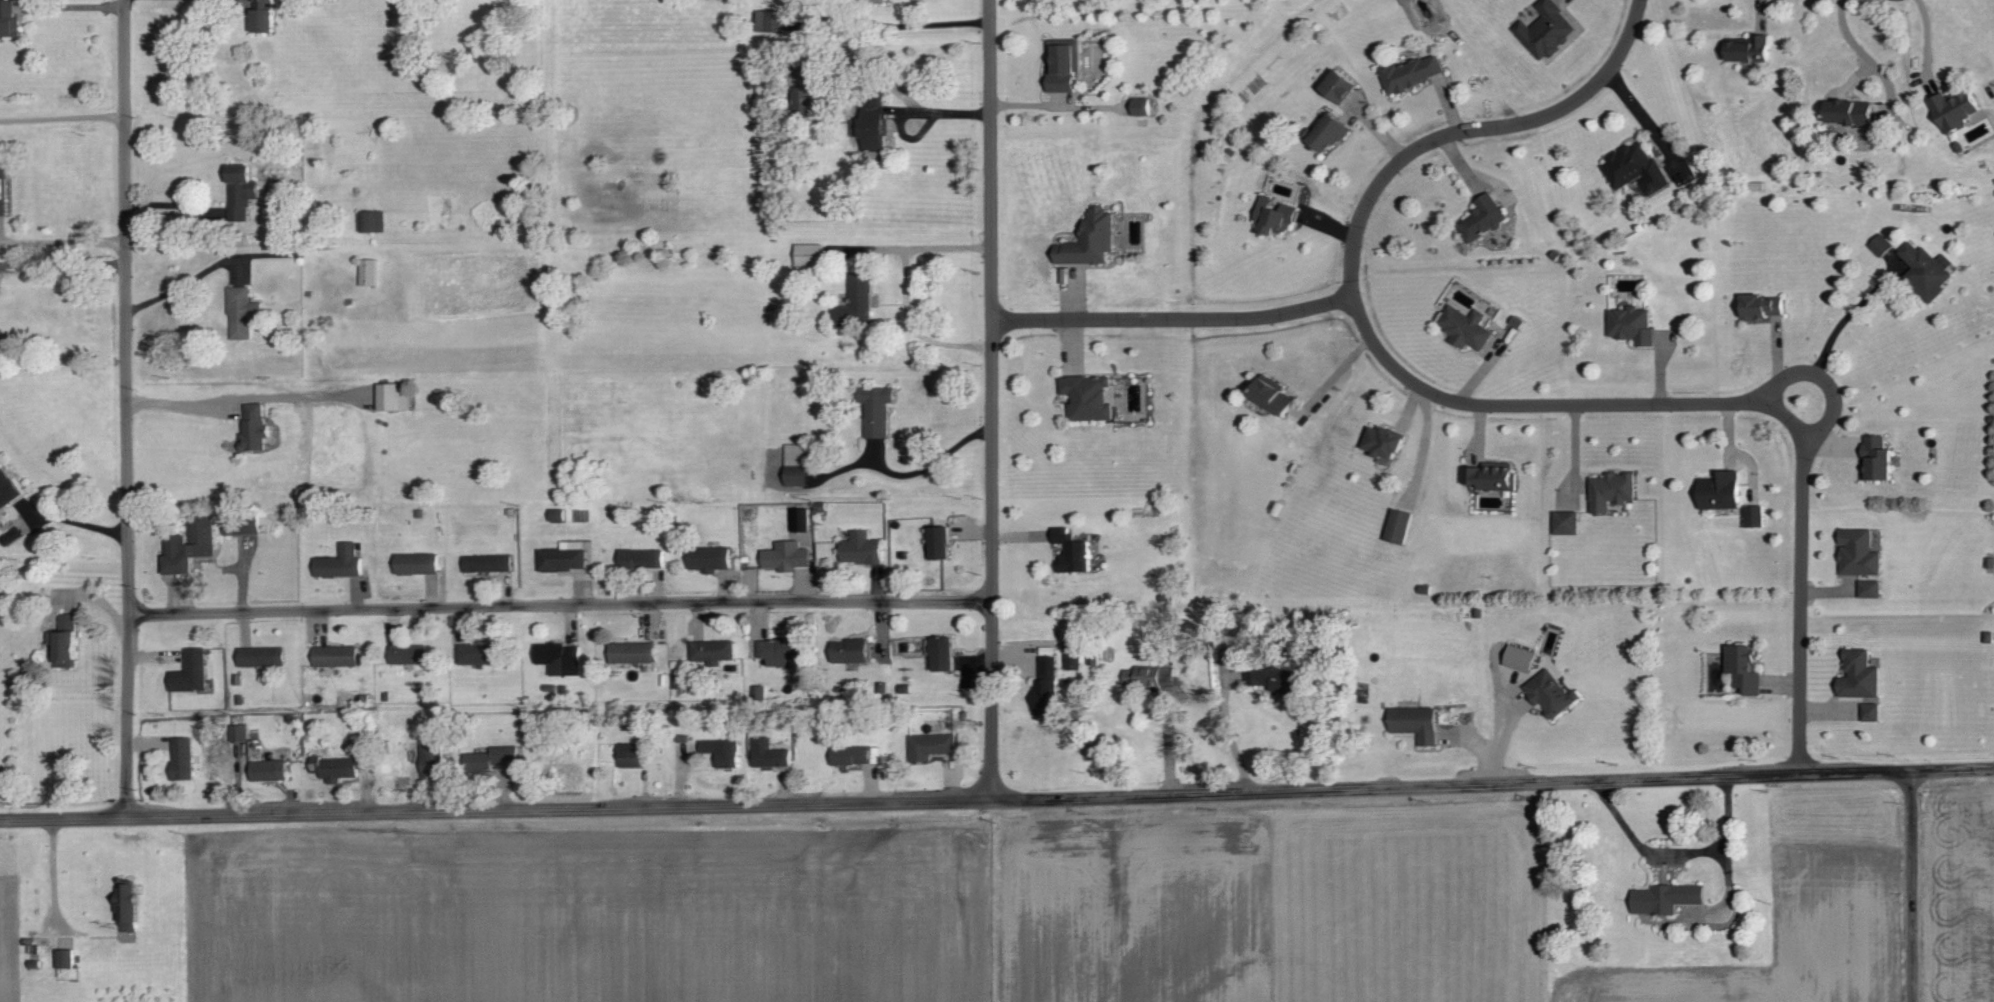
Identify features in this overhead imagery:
building: (872, 1)
road: (70, 7)
building: (262, 16)
building: (769, 21)
road: (916, 23)
building: (1547, 30)
building: (1750, 51)
road: (1866, 58)
building: (1063, 64)
building: (1413, 73)
building: (1338, 87)
building: (803, 90)
road: (903, 94)
building: (1141, 107)
building: (1850, 113)
building: (1962, 114)
road: (61, 115)
building: (872, 124)
road: (1469, 126)
building: (1329, 134)
building: (1634, 169)
building: (2, 190)
building: (276, 191)
building: (240, 193)
building: (1275, 216)
building: (1483, 219)
building: (372, 222)
building: (1090, 240)
road: (62, 243)
building: (810, 256)
building: (1917, 267)
building: (369, 273)
road: (180, 288)
road: (903, 288)
building: (856, 303)
building: (1764, 308)
building: (241, 313)
road: (1172, 316)
building: (1632, 326)
building: (1465, 328)
road: (1835, 330)
building: (393, 396)
road: (992, 397)
road: (242, 398)
building: (1088, 398)
building: (1272, 398)
road: (1553, 402)
road: (126, 409)
building: (876, 410)
building: (253, 427)
building: (1384, 447)
building: (796, 454)
building: (1877, 460)
road: (941, 464)
building: (796, 477)
building: (1491, 477)
building: (6, 489)
building: (1611, 491)
building: (1721, 492)
building: (556, 515)
building: (1754, 517)
building: (800, 519)
building: (1566, 523)
building: (241, 525)
building: (1399, 527)
building: (12, 536)
building: (940, 541)
building: (189, 546)
building: (861, 548)
building: (1072, 551)
building: (1859, 553)
building: (786, 556)
building: (563, 557)
building: (641, 558)
building: (709, 558)
building: (339, 562)
building: (415, 563)
building: (487, 563)
road: (1802, 588)
building: (1870, 588)
road: (560, 604)
building: (64, 641)
building: (781, 650)
building: (851, 650)
building: (712, 651)
building: (631, 652)
building: (477, 653)
building: (942, 653)
building: (407, 654)
building: (1074, 655)
building: (261, 656)
building: (334, 656)
building: (559, 657)
building: (1520, 657)
building: (1744, 667)
building: (190, 672)
building: (1859, 674)
building: (1150, 676)
building: (1276, 679)
building: (1551, 693)
building: (1045, 696)
building: (1872, 711)
building: (1416, 723)
road: (1226, 727)
building: (239, 732)
building: (930, 746)
building: (722, 752)
building: (768, 754)
building: (630, 755)
building: (850, 755)
building: (181, 758)
building: (489, 758)
building: (431, 759)
building: (338, 768)
building: (268, 770)
road: (1955, 771)
road: (1454, 784)
road: (496, 808)
road: (1677, 855)
road: (1916, 887)
building: (1666, 898)
building: (127, 907)
building: (64, 958)

